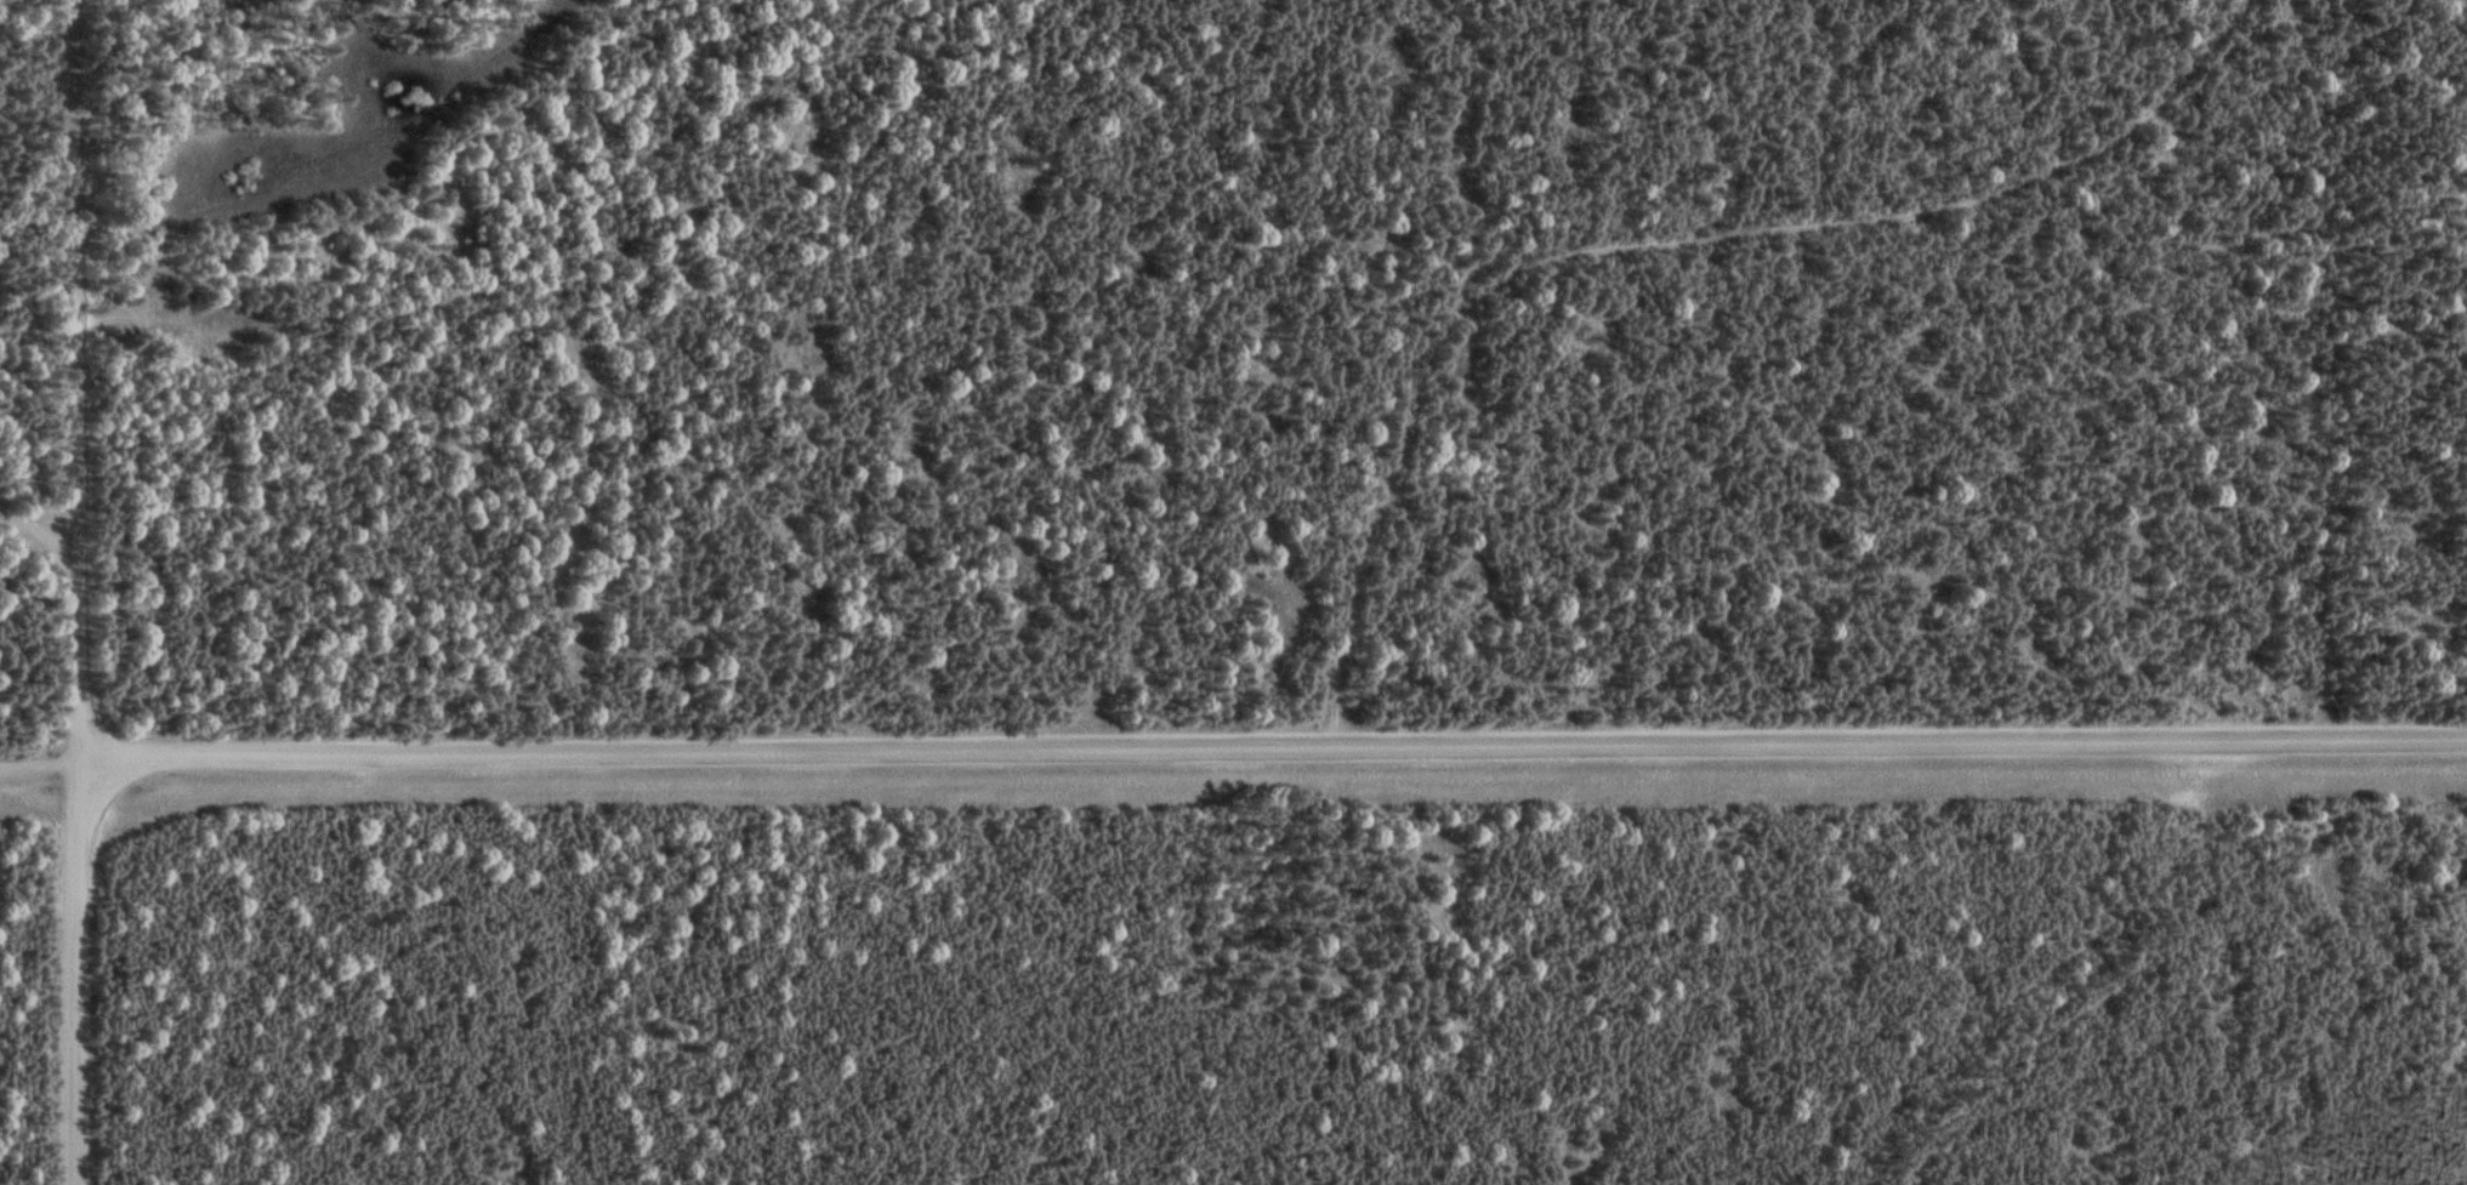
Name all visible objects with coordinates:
road: (1652, 249)
road: (33, 534)
road: (67, 592)
road: (1233, 746)

